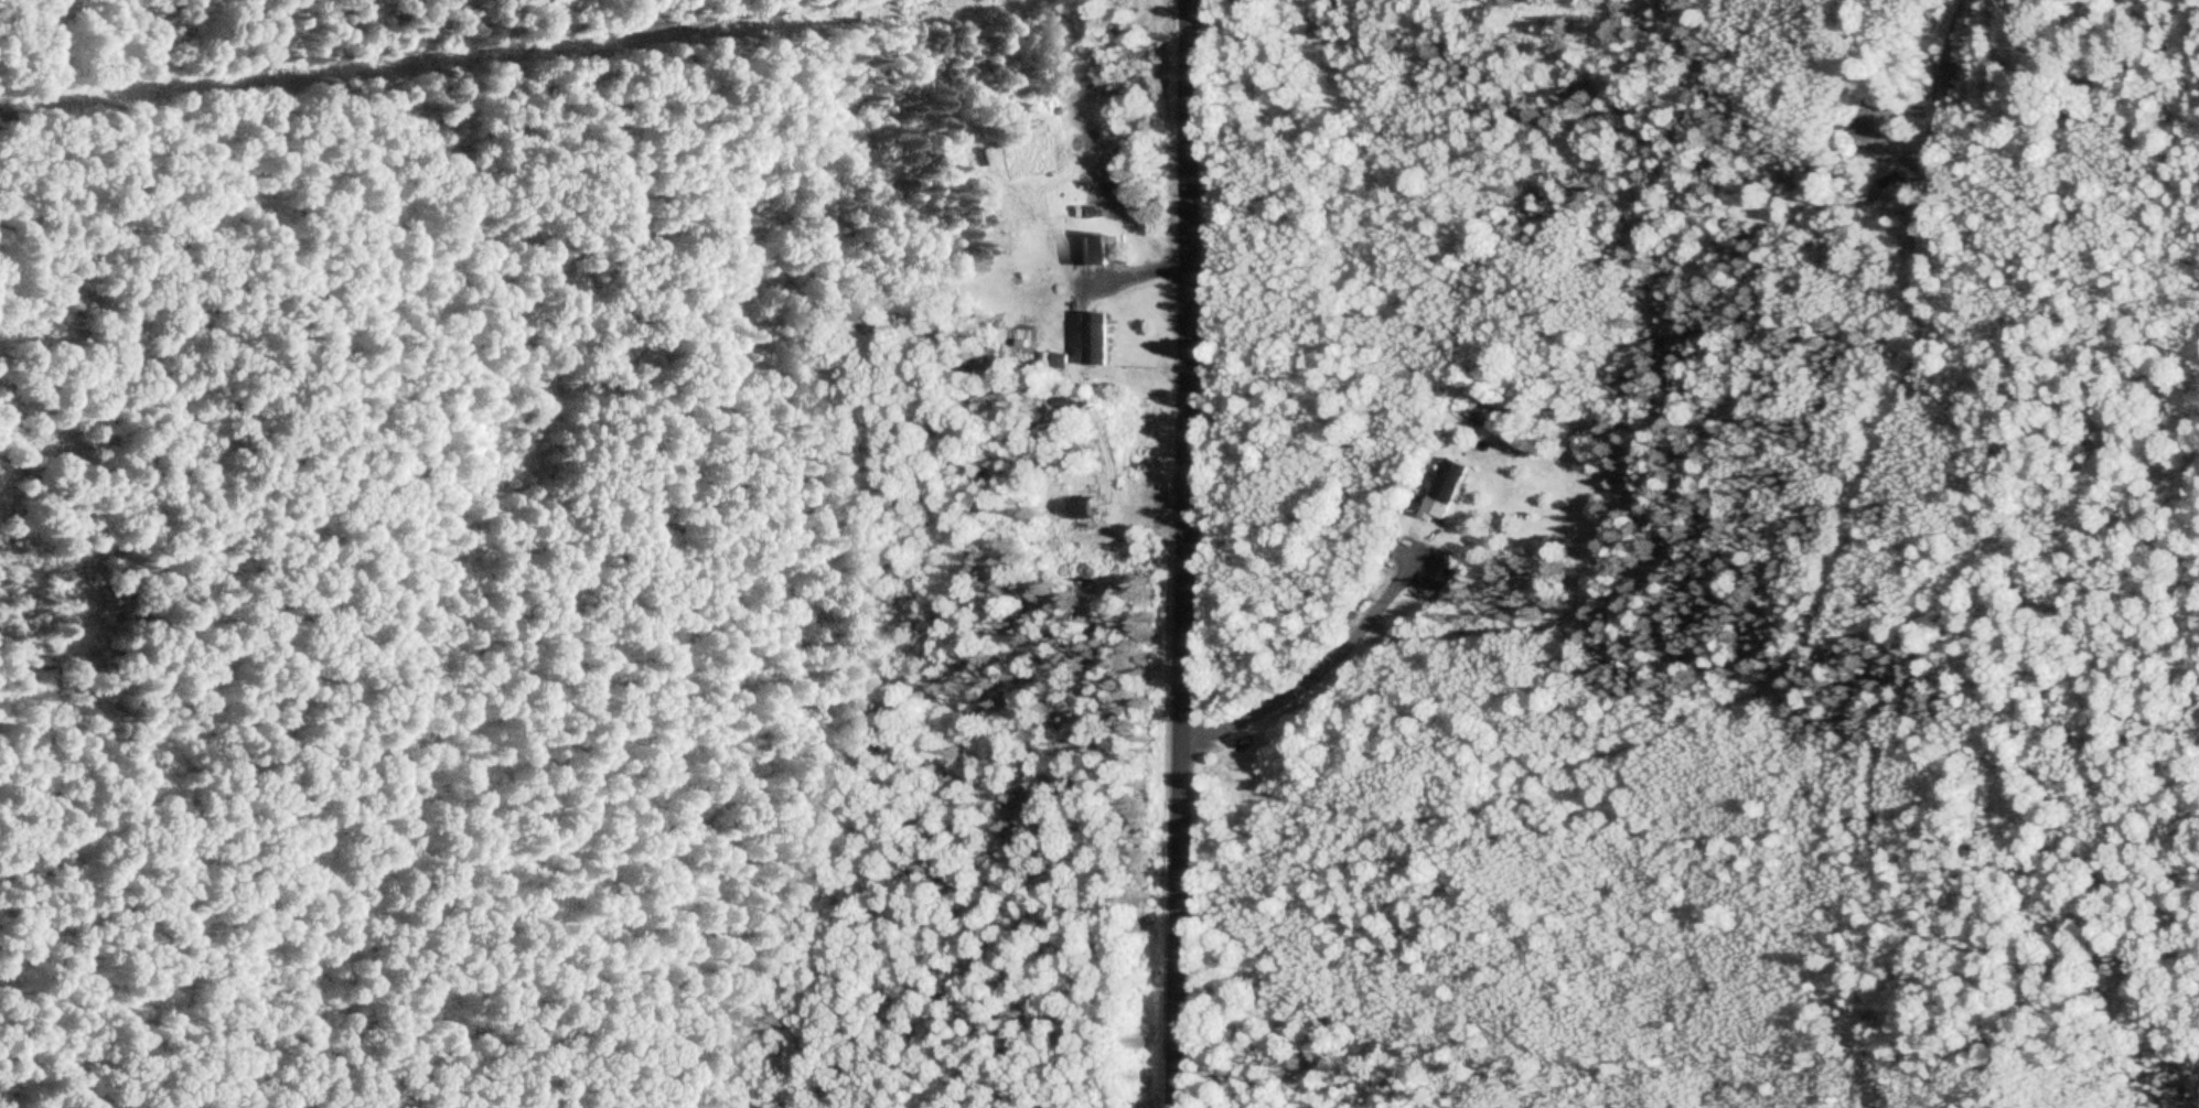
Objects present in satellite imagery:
building: (1454, 481)
building: (1085, 505)
road: (1198, 553)
building: (1448, 572)

